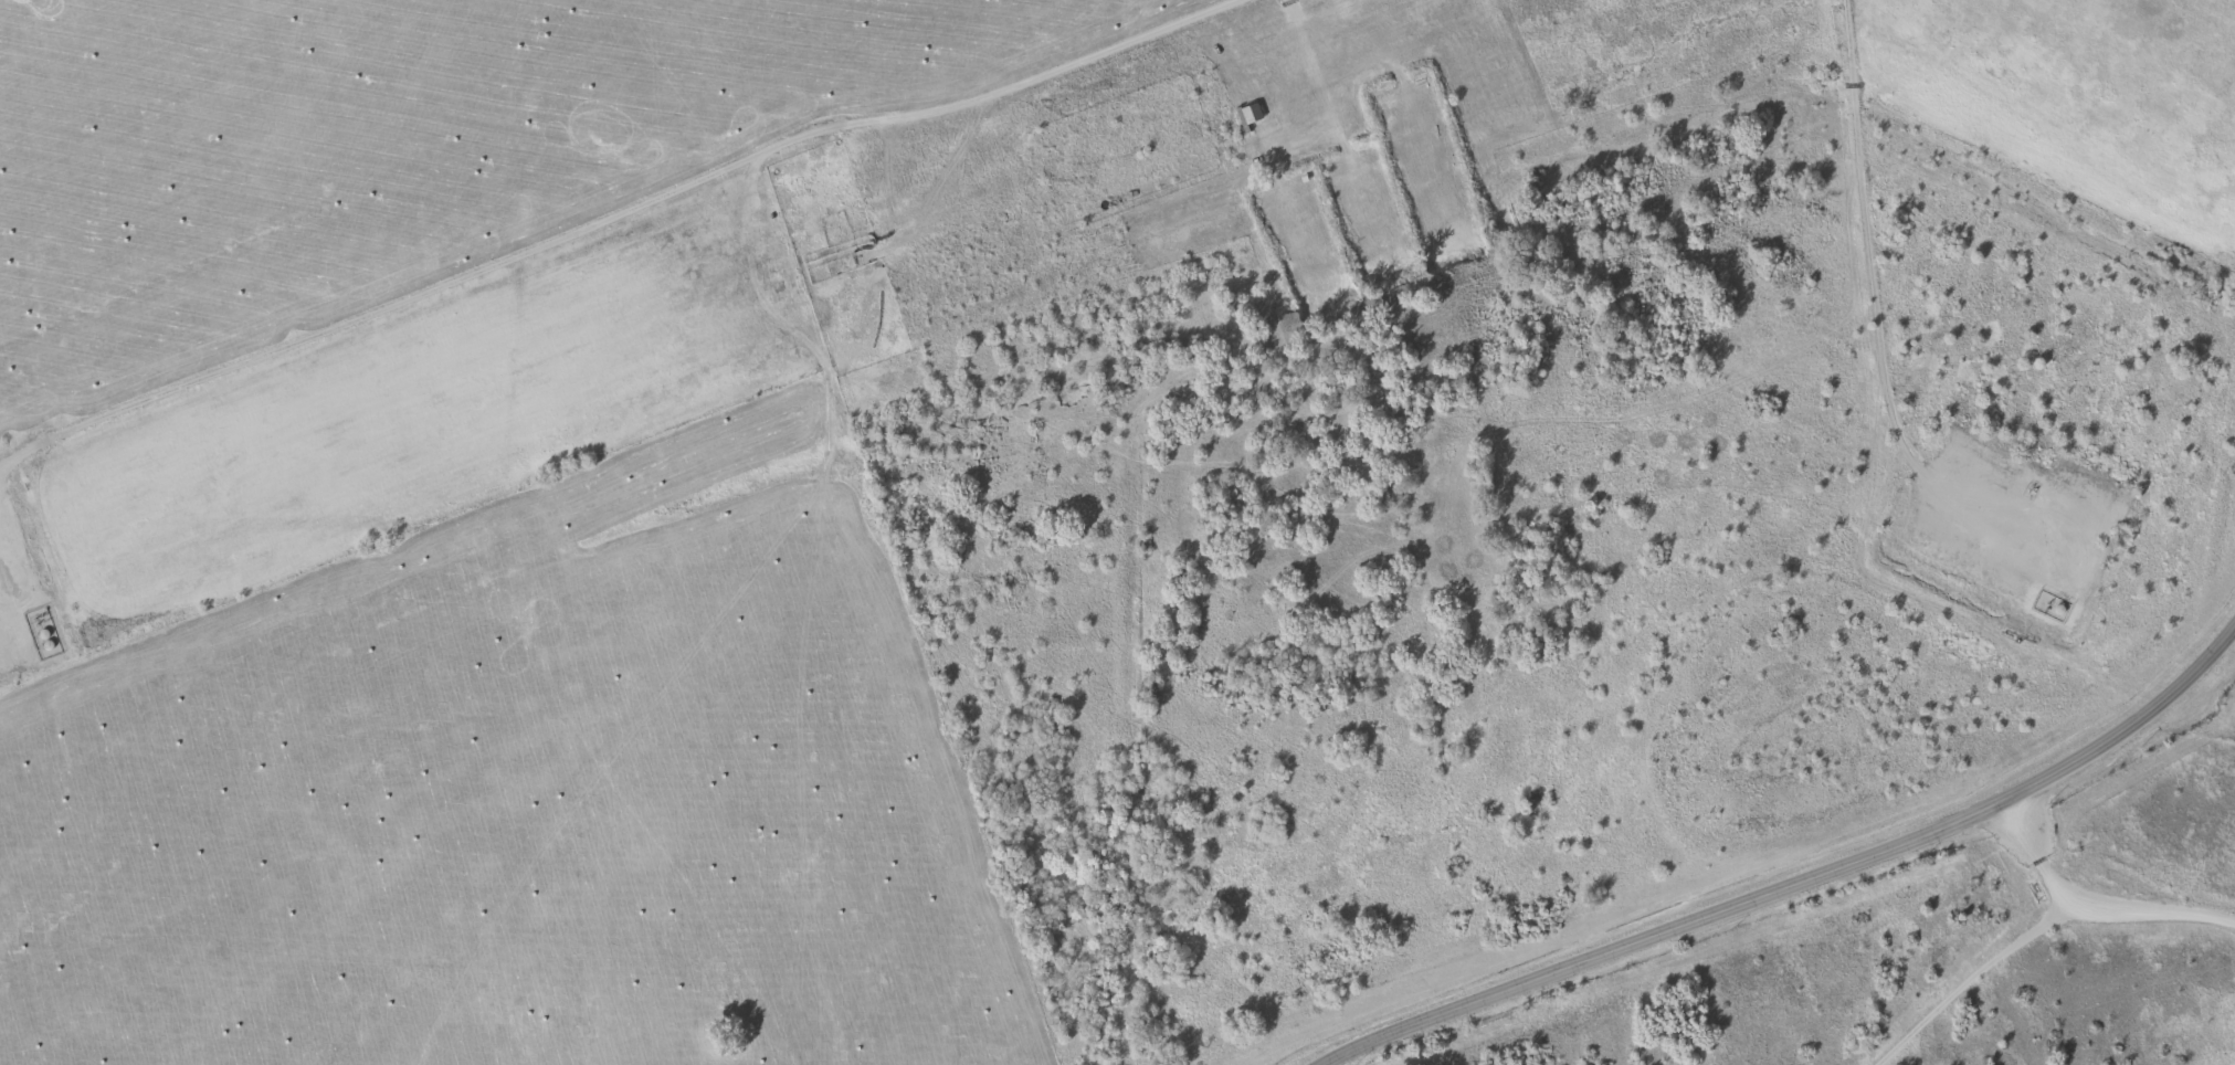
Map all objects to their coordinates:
road: (645, 204)
road: (1800, 879)
road: (2090, 906)

